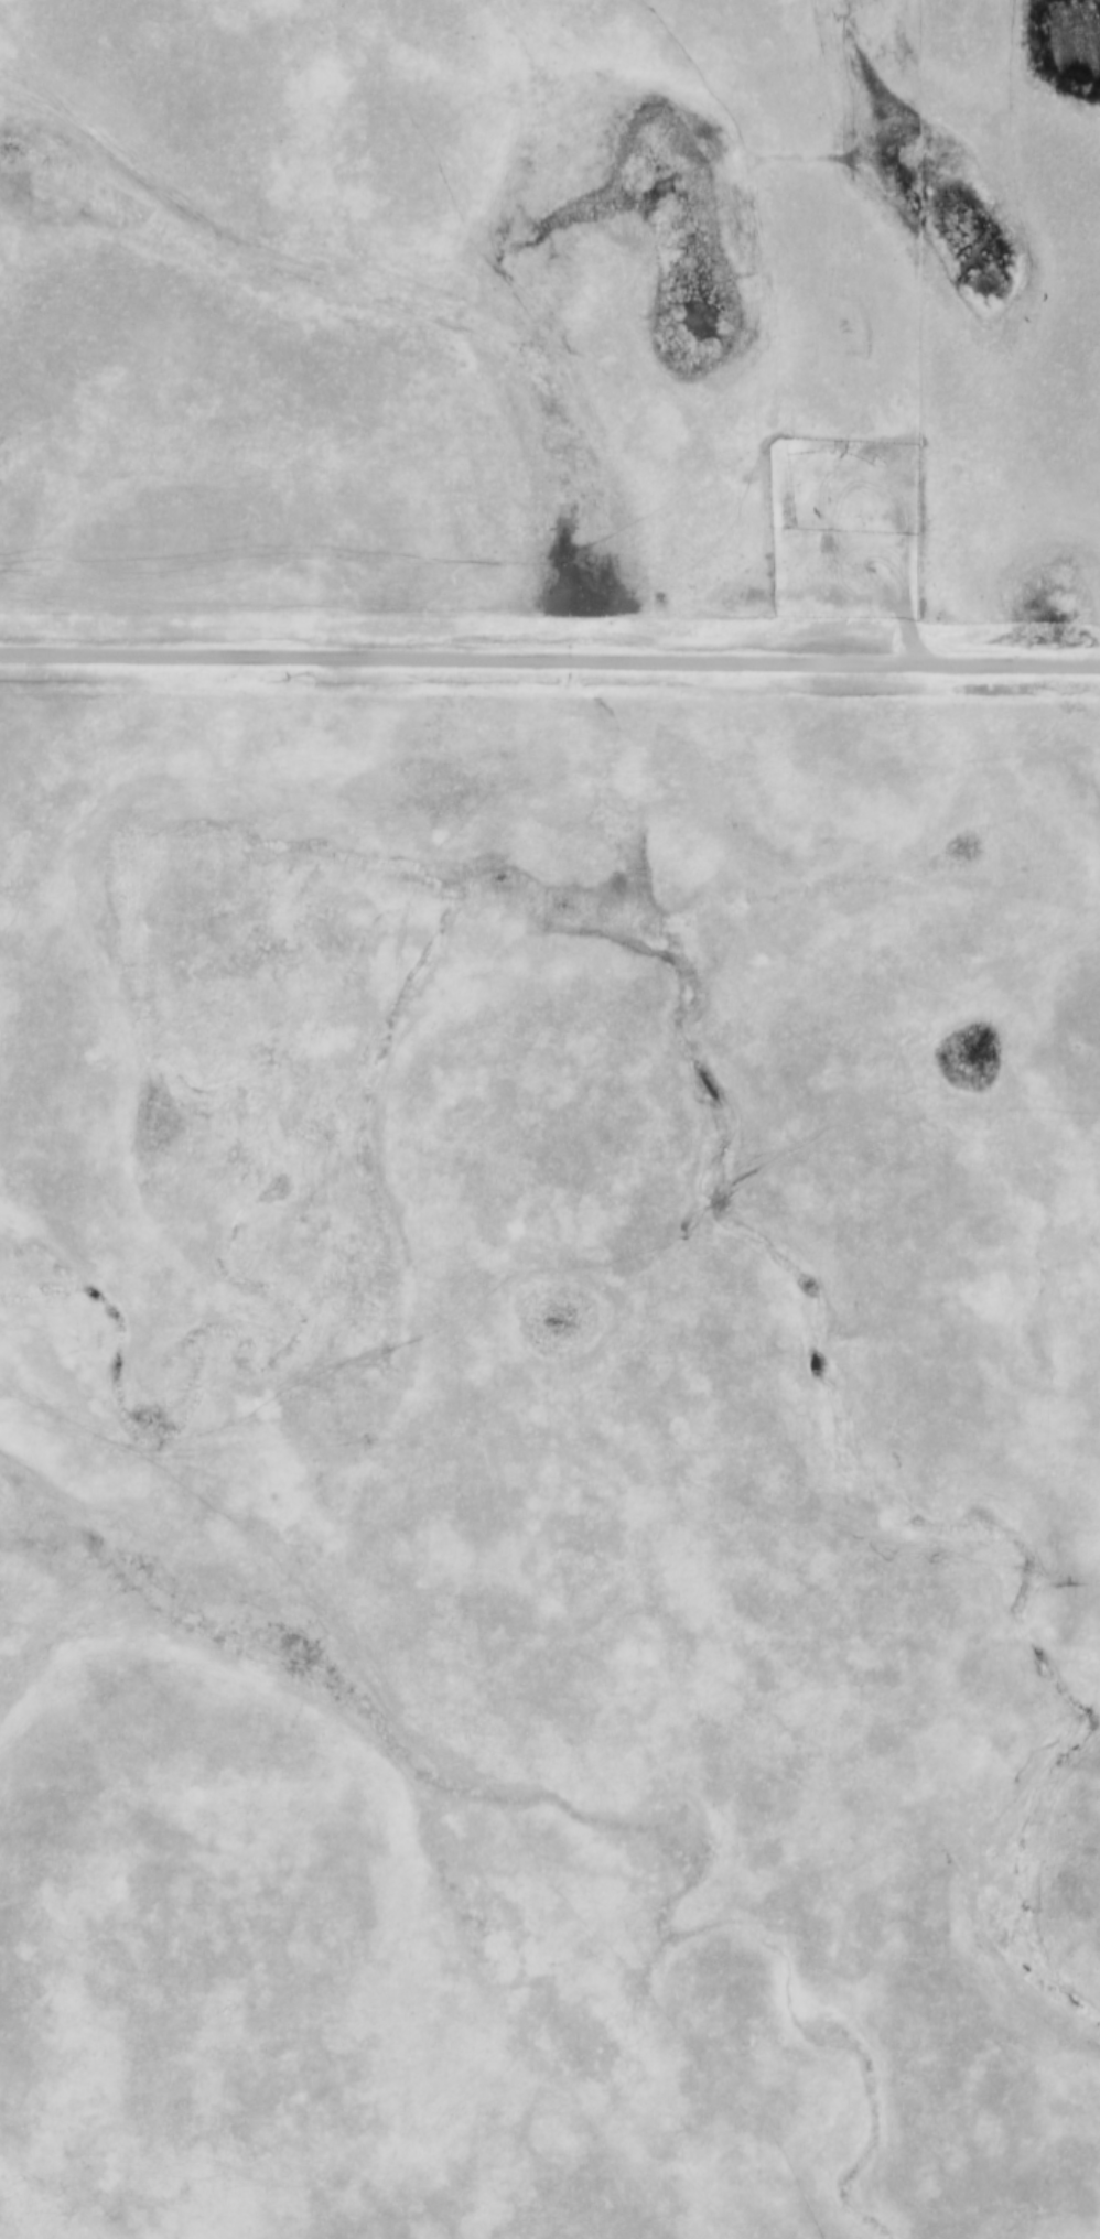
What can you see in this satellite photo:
road: (549, 662)

